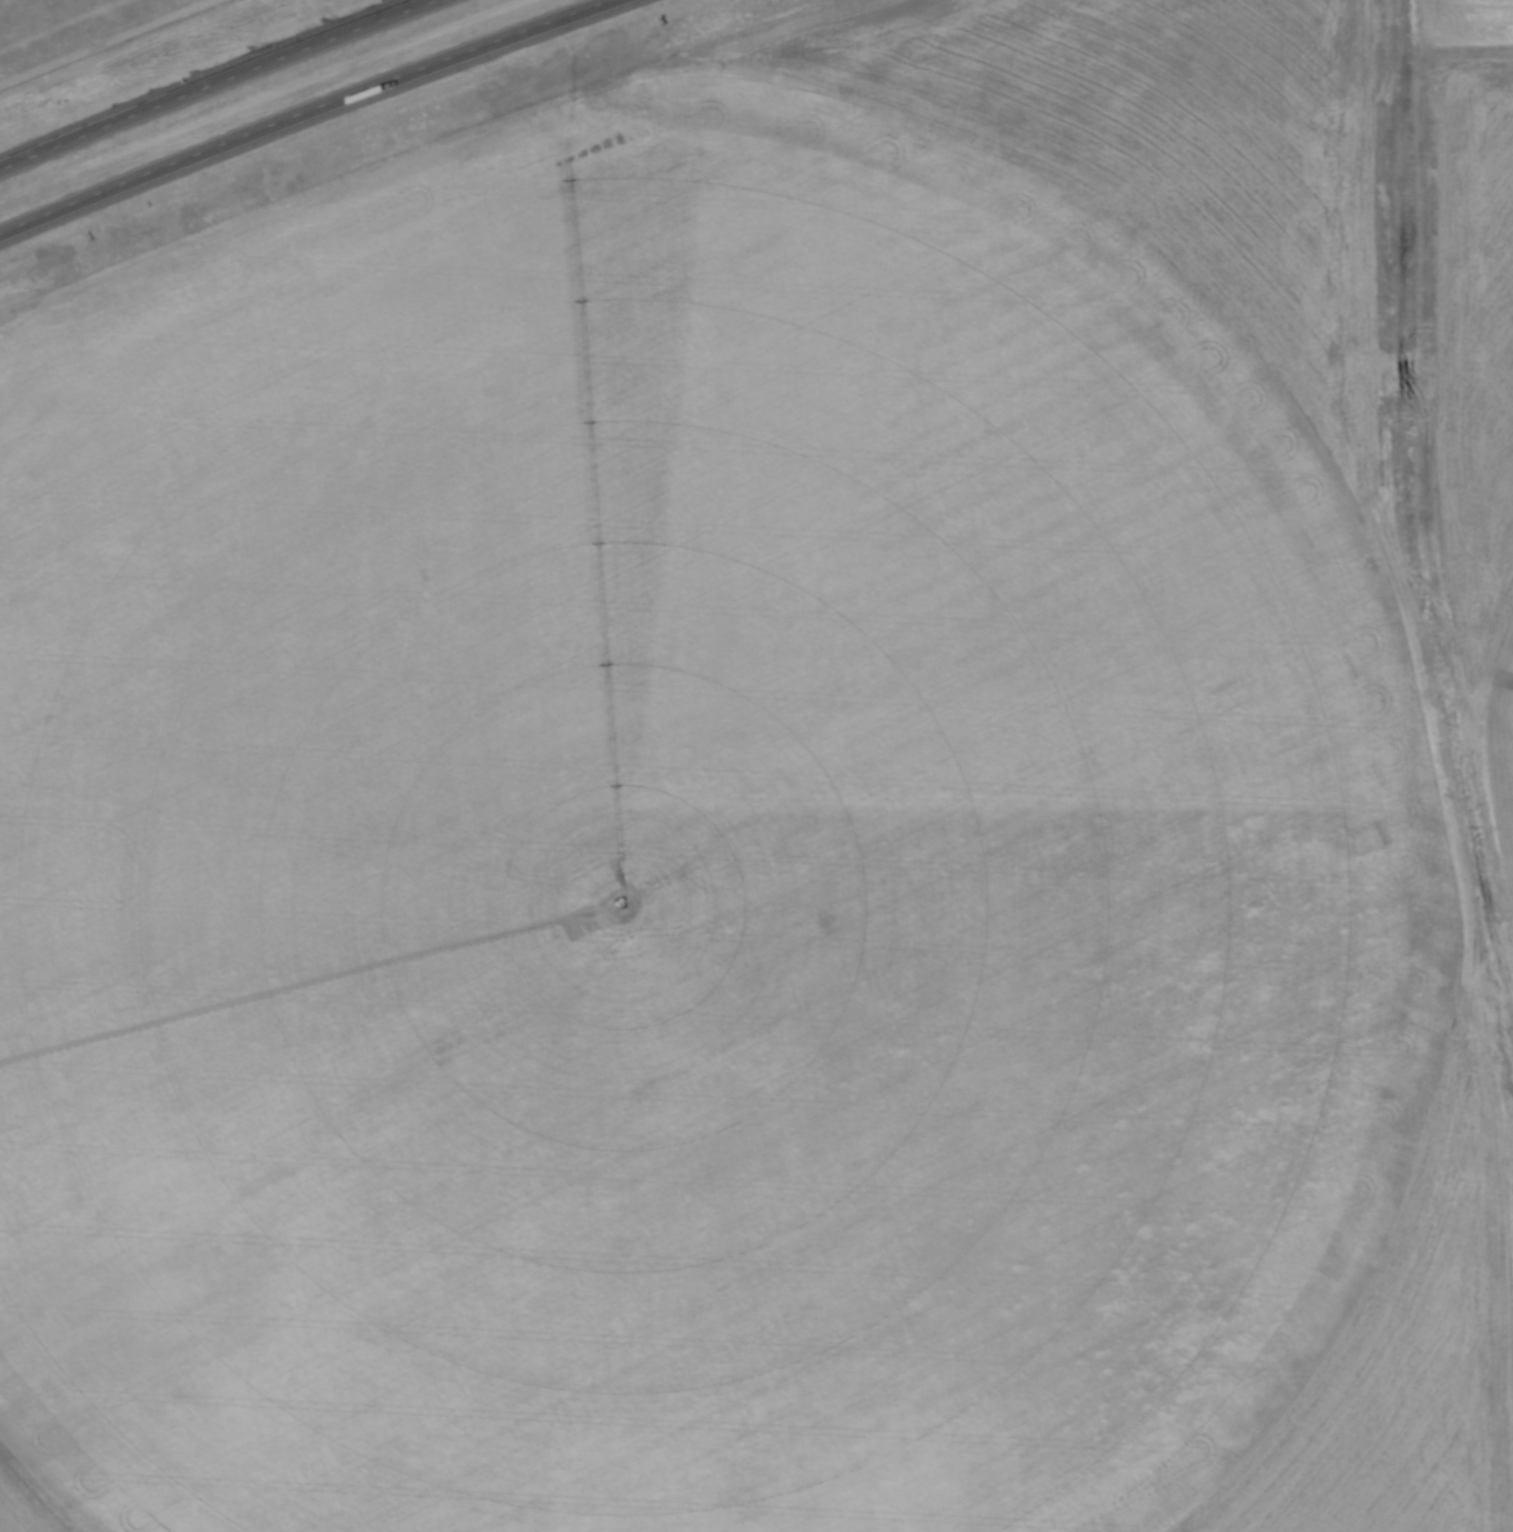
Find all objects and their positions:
road: (104, 41)
road: (214, 84)
road: (308, 113)

